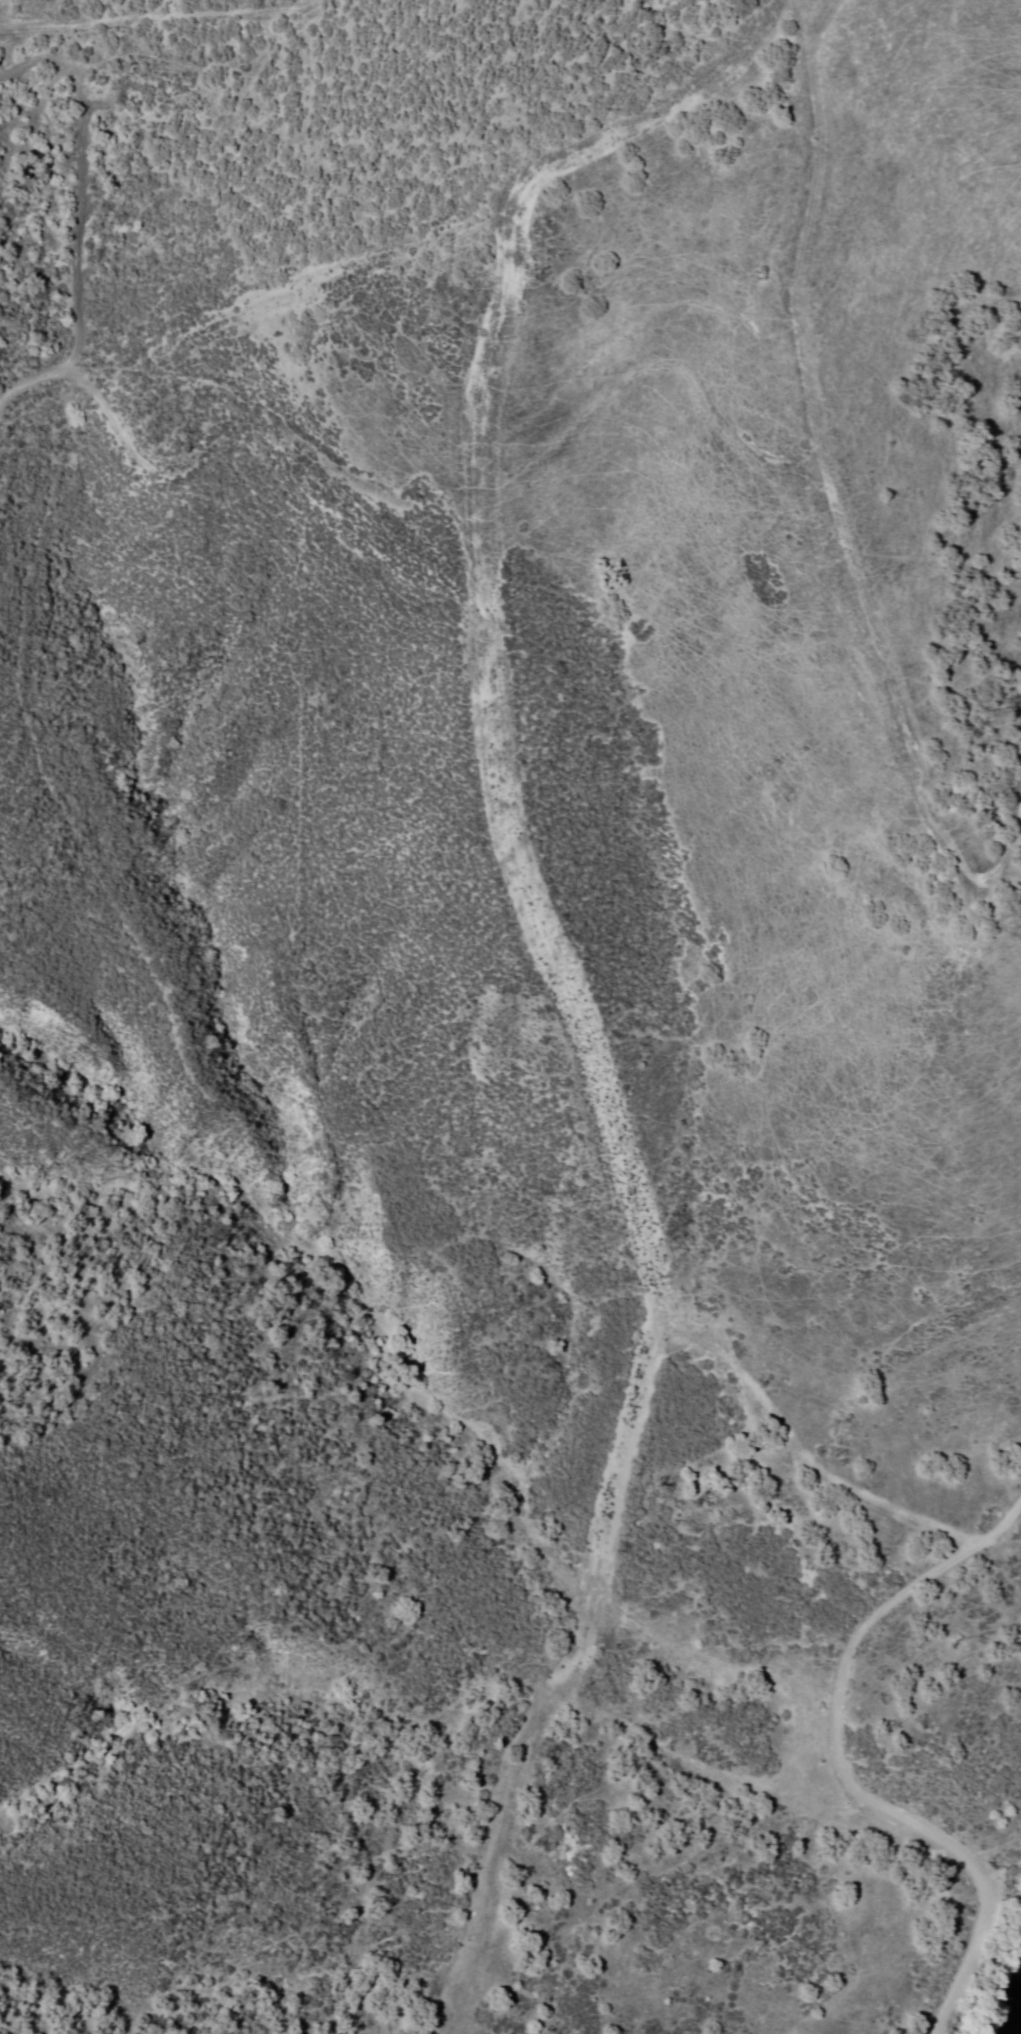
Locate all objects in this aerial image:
road: (826, 505)
road: (560, 970)
road: (840, 1768)
river: (1011, 2016)

